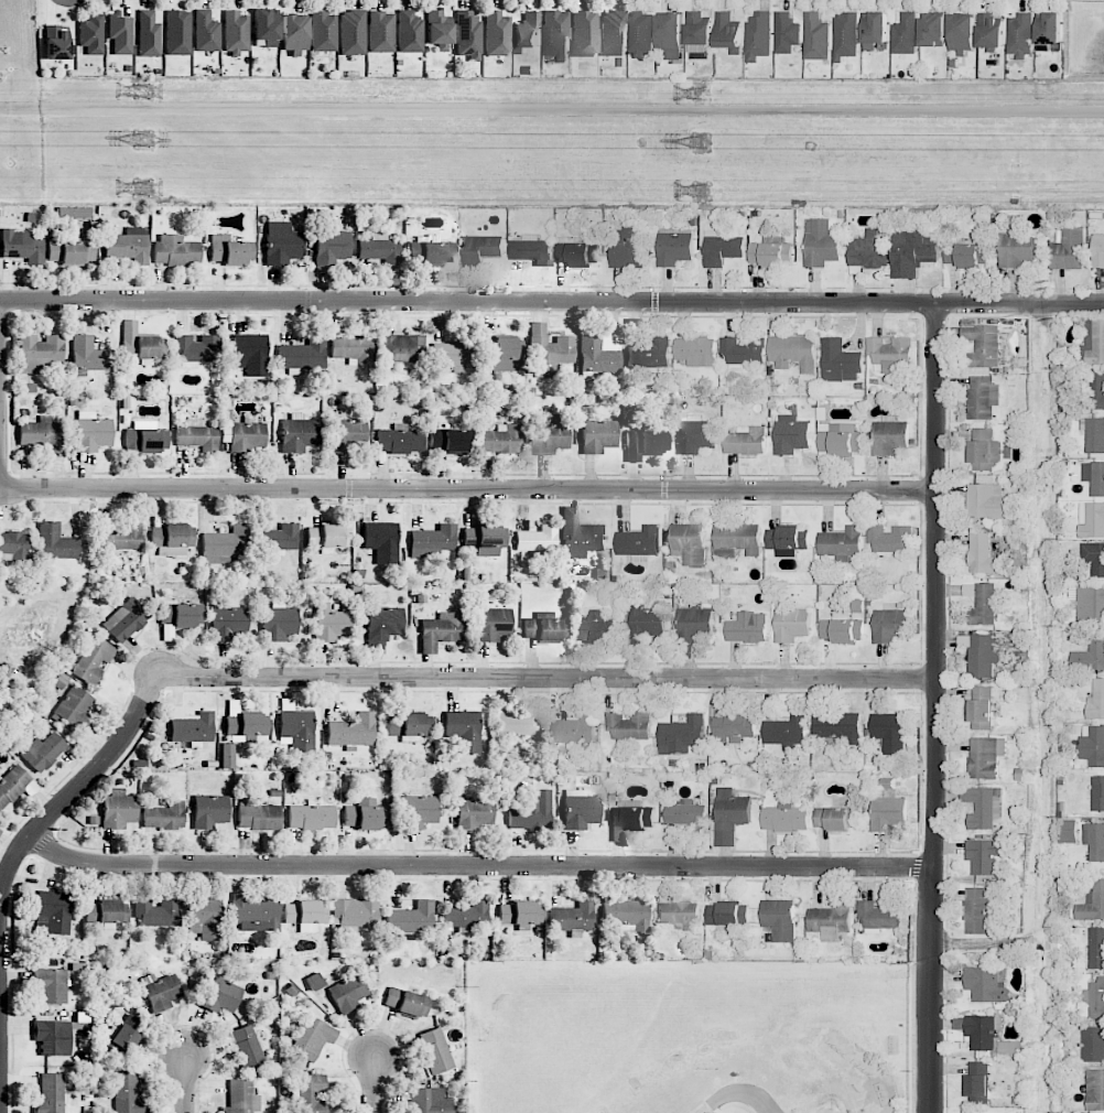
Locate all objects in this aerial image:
building: (266, 26)
building: (439, 28)
building: (699, 29)
building: (874, 29)
building: (1048, 29)
building: (932, 30)
building: (323, 31)
building: (671, 31)
building: (989, 31)
building: (177, 32)
building: (206, 32)
building: (236, 32)
building: (351, 32)
building: (380, 32)
building: (409, 32)
building: (728, 32)
building: (294, 33)
building: (527, 33)
building: (613, 33)
building: (641, 33)
building: (786, 33)
building: (91, 34)
building: (120, 34)
building: (149, 34)
building: (497, 34)
building: (555, 34)
building: (584, 34)
building: (846, 34)
building: (905, 34)
building: (1019, 34)
building: (468, 35)
building: (758, 35)
building: (815, 36)
building: (55, 44)
power tower: (141, 91)
power tower: (702, 94)
road: (552, 109)
power tower: (144, 140)
power tower: (700, 142)
power tower: (143, 190)
power tower: (701, 191)
building: (821, 242)
building: (281, 244)
building: (128, 246)
building: (332, 247)
building: (628, 247)
building: (674, 247)
building: (21, 248)
building: (380, 249)
building: (481, 249)
building: (722, 249)
building: (1069, 249)
building: (175, 250)
building: (531, 250)
building: (869, 250)
building: (913, 250)
building: (1016, 250)
building: (1097, 250)
building: (71, 251)
building: (230, 251)
building: (432, 252)
building: (771, 252)
building: (576, 253)
building: (967, 255)
road: (551, 302)
building: (1093, 343)
building: (140, 344)
building: (982, 344)
building: (401, 348)
building: (549, 348)
building: (646, 348)
building: (196, 349)
building: (353, 349)
building: (743, 350)
building: (695, 352)
building: (794, 352)
building: (40, 353)
building: (250, 354)
building: (599, 354)
building: (889, 354)
building: (89, 355)
building: (454, 355)
building: (501, 355)
building: (303, 356)
building: (840, 361)
building: (1095, 390)
building: (983, 397)
building: (144, 424)
building: (93, 432)
building: (347, 433)
building: (41, 434)
building: (297, 434)
building: (550, 434)
building: (695, 434)
building: (791, 434)
building: (197, 435)
building: (889, 435)
building: (1095, 435)
building: (243, 436)
building: (598, 436)
building: (147, 440)
building: (501, 440)
building: (840, 440)
building: (399, 441)
building: (451, 441)
building: (746, 441)
building: (645, 443)
building: (983, 449)
building: (1094, 476)
road: (468, 489)
building: (987, 501)
building: (1091, 520)
building: (581, 536)
building: (485, 537)
building: (120, 538)
building: (281, 538)
building: (328, 538)
building: (738, 538)
building: (890, 538)
building: (537, 539)
building: (787, 540)
building: (381, 541)
building: (432, 541)
building: (56, 542)
building: (226, 542)
building: (842, 542)
building: (638, 543)
building: (689, 543)
building: (13, 545)
building: (982, 553)
building: (1094, 558)
building: (1090, 604)
building: (983, 605)
building: (182, 615)
building: (126, 619)
building: (695, 620)
building: (229, 623)
building: (332, 623)
building: (646, 623)
building: (279, 624)
building: (385, 624)
building: (491, 624)
building: (791, 624)
building: (890, 624)
building: (595, 627)
building: (747, 627)
building: (544, 629)
building: (842, 629)
building: (441, 630)
building: (1090, 653)
building: (984, 655)
building: (93, 661)
road: (548, 678)
building: (1096, 701)
building: (981, 704)
building: (75, 707)
road: (937, 707)
building: (247, 724)
building: (410, 725)
building: (520, 725)
building: (191, 726)
building: (628, 726)
building: (837, 726)
building: (733, 727)
building: (295, 728)
building: (574, 730)
building: (351, 731)
building: (464, 731)
building: (787, 732)
building: (889, 732)
building: (681, 735)
building: (1093, 745)
building: (43, 752)
building: (228, 756)
building: (986, 757)
building: (12, 785)
building: (1097, 793)
road: (71, 796)
building: (984, 807)
building: (118, 809)
building: (581, 810)
building: (209, 811)
building: (418, 812)
building: (474, 813)
building: (532, 813)
building: (685, 813)
building: (888, 813)
building: (365, 814)
building: (164, 815)
building: (730, 815)
building: (311, 817)
building: (259, 818)
building: (784, 818)
building: (836, 818)
building: (630, 821)
building: (1068, 831)
building: (1094, 841)
building: (985, 855)
road: (478, 868)
building: (1092, 903)
building: (979, 909)
building: (54, 910)
building: (156, 911)
building: (253, 911)
building: (106, 914)
building: (354, 914)
building: (520, 914)
building: (626, 914)
building: (725, 914)
building: (305, 915)
building: (466, 915)
building: (680, 915)
building: (879, 916)
building: (203, 918)
building: (410, 919)
building: (779, 919)
building: (831, 921)
building: (1096, 948)
building: (986, 984)
building: (52, 985)
building: (161, 992)
building: (347, 994)
building: (220, 995)
building: (1095, 998)
building: (408, 1002)
building: (987, 1036)
building: (53, 1037)
building: (125, 1037)
building: (311, 1037)
building: (1092, 1044)
building: (247, 1048)
building: (435, 1050)
building: (977, 1082)
road: (375, 1083)
road: (186, 1087)
building: (1095, 1089)
building: (128, 1093)
building: (312, 1093)
building: (50, 1094)
building: (241, 1098)
building: (430, 1101)

